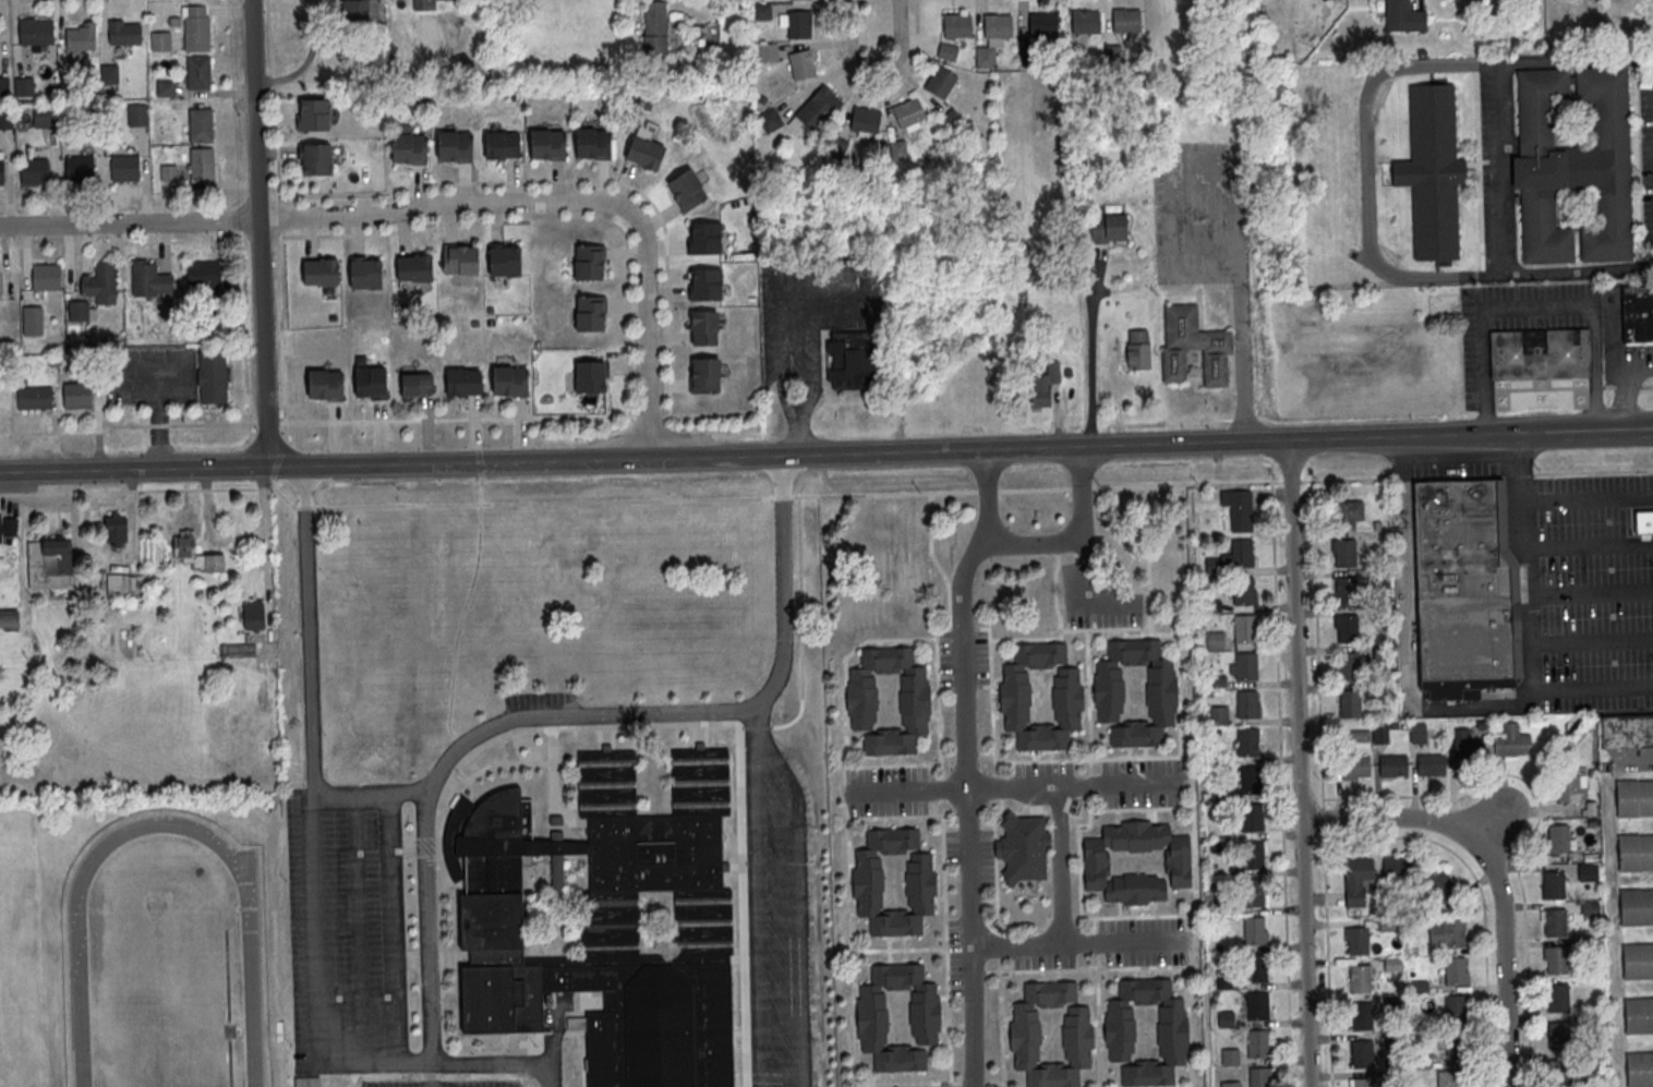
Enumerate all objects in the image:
building: (423, 4)
building: (360, 10)
building: (762, 12)
building: (655, 16)
building: (1402, 16)
building: (1127, 21)
building: (1087, 22)
building: (1043, 24)
building: (799, 25)
road: (832, 26)
building: (958, 26)
building: (998, 26)
building: (34, 32)
building: (124, 33)
building: (196, 33)
building: (81, 37)
building: (161, 43)
building: (948, 51)
building: (769, 52)
building: (1113, 55)
building: (1031, 56)
building: (986, 58)
building: (803, 65)
road: (876, 70)
building: (198, 73)
building: (109, 74)
road: (900, 81)
building: (940, 82)
building: (4, 87)
building: (24, 87)
building: (167, 88)
road: (276, 97)
building: (819, 109)
building: (908, 112)
building: (314, 113)
building: (137, 116)
building: (7, 118)
building: (45, 118)
building: (953, 119)
building: (770, 120)
building: (866, 120)
building: (202, 125)
building: (593, 141)
building: (547, 142)
building: (502, 144)
building: (456, 145)
building: (410, 147)
building: (645, 147)
building: (836, 147)
building: (898, 150)
parking lot: (1646, 157)
building: (315, 158)
building: (202, 164)
building: (1573, 165)
building: (80, 168)
building: (125, 168)
road: (1501, 168)
parking lot: (1489, 170)
building: (35, 171)
road: (1363, 171)
building: (1, 172)
building: (169, 172)
building: (1432, 172)
building: (687, 189)
road: (449, 204)
road: (280, 217)
road: (130, 224)
road: (641, 225)
building: (1109, 228)
road: (260, 232)
building: (705, 238)
building: (505, 258)
building: (460, 259)
building: (589, 262)
building: (414, 267)
road: (808, 268)
building: (321, 271)
building: (365, 273)
building: (204, 274)
building: (47, 277)
building: (148, 279)
building: (101, 283)
building: (707, 285)
road: (1536, 306)
building: (79, 311)
building: (591, 312)
building: (1638, 314)
road: (858, 315)
building: (33, 317)
building: (705, 327)
road: (1239, 327)
road: (280, 337)
road: (1093, 342)
road: (649, 346)
building: (1194, 347)
building: (1138, 350)
building: (1540, 353)
building: (852, 359)
building: (704, 375)
parking lot: (149, 376)
building: (590, 376)
building: (213, 377)
building: (511, 381)
building: (372, 382)
building: (463, 382)
building: (326, 384)
building: (417, 384)
building: (1045, 386)
building: (77, 395)
building: (35, 398)
road: (387, 420)
road: (160, 422)
road: (1608, 430)
road: (933, 449)
road: (278, 458)
road: (285, 466)
road: (134, 469)
road: (1477, 474)
road: (1186, 483)
road: (272, 484)
road: (1079, 487)
road: (1034, 488)
road: (987, 490)
road: (884, 494)
road: (782, 496)
road: (1590, 497)
road: (382, 505)
building: (1239, 509)
building: (1343, 517)
building: (1643, 522)
building: (8, 527)
building: (116, 528)
road: (1074, 536)
road: (1057, 548)
building: (195, 553)
building: (1243, 553)
building: (1346, 553)
road: (1148, 559)
building: (50, 563)
building: (1380, 579)
building: (124, 585)
road: (783, 585)
building: (1244, 591)
building: (1347, 591)
building: (1461, 591)
building: (1212, 606)
building: (253, 615)
building: (1381, 616)
road: (799, 619)
building: (9, 620)
road: (1534, 620)
road: (962, 628)
road: (1103, 628)
building: (1348, 628)
building: (1245, 629)
road: (1059, 630)
road: (1316, 631)
road: (1405, 636)
building: (1215, 641)
building: (238, 650)
building: (1381, 653)
road: (1177, 665)
building: (1352, 666)
building: (1246, 667)
building: (1217, 683)
road: (310, 685)
building: (1383, 691)
building: (1108, 693)
road: (938, 696)
building: (1015, 697)
building: (861, 701)
building: (1247, 704)
building: (1349, 704)
building: (1218, 716)
building: (1627, 730)
building: (1380, 734)
building: (1417, 734)
building: (1360, 737)
building: (1248, 742)
building: (1512, 742)
building: (1468, 746)
road: (1013, 761)
road: (1299, 763)
road: (966, 764)
building: (1431, 765)
building: (1393, 766)
building: (1355, 768)
road: (1281, 773)
building: (1250, 780)
road: (1073, 783)
road: (910, 788)
building: (1568, 789)
road: (1001, 792)
building: (1220, 795)
building: (1634, 797)
road: (426, 808)
building: (1252, 818)
road: (969, 822)
road: (987, 822)
road: (951, 823)
road: (1533, 826)
building: (1558, 840)
building: (1023, 848)
building: (1636, 852)
road: (994, 853)
building: (1253, 855)
road: (1496, 856)
building: (1096, 863)
road: (1059, 865)
building: (1397, 868)
building: (1359, 869)
road: (944, 872)
building: (1588, 873)
building: (868, 882)
building: (1441, 885)
building: (1554, 885)
road: (795, 893)
building: (1253, 893)
building: (1636, 906)
building: (1222, 907)
building: (1591, 909)
building: (605, 919)
building: (1555, 922)
road: (393, 925)
road: (358, 927)
building: (1255, 932)
building: (1447, 934)
building: (1358, 940)
road: (1078, 944)
road: (999, 952)
road: (1327, 959)
track: (164, 961)
building: (1556, 961)
building: (1637, 961)
road: (1155, 965)
building: (1393, 965)
building: (1257, 968)
building: (1457, 971)
building: (1360, 978)
road: (318, 982)
building: (1226, 983)
park: (159, 995)
road: (1486, 998)
building: (1558, 999)
building: (1395, 1004)
building: (1257, 1005)
building: (1456, 1010)
building: (1638, 1015)
building: (925, 1016)
building: (1362, 1016)
building: (1226, 1019)
road: (1000, 1022)
road: (1098, 1027)
building: (1119, 1031)
building: (1078, 1035)
building: (1559, 1037)
building: (1258, 1042)
building: (1397, 1042)
building: (1457, 1046)
building: (1362, 1053)
building: (1230, 1058)
building: (1423, 1060)
building: (1639, 1068)
building: (1560, 1074)
building: (1259, 1076)
building: (1453, 1078)
building: (306, 1080)
road: (972, 1080)
road: (992, 1080)
building: (1364, 1082)
road: (882, 1084)
building: (1230, 1084)

